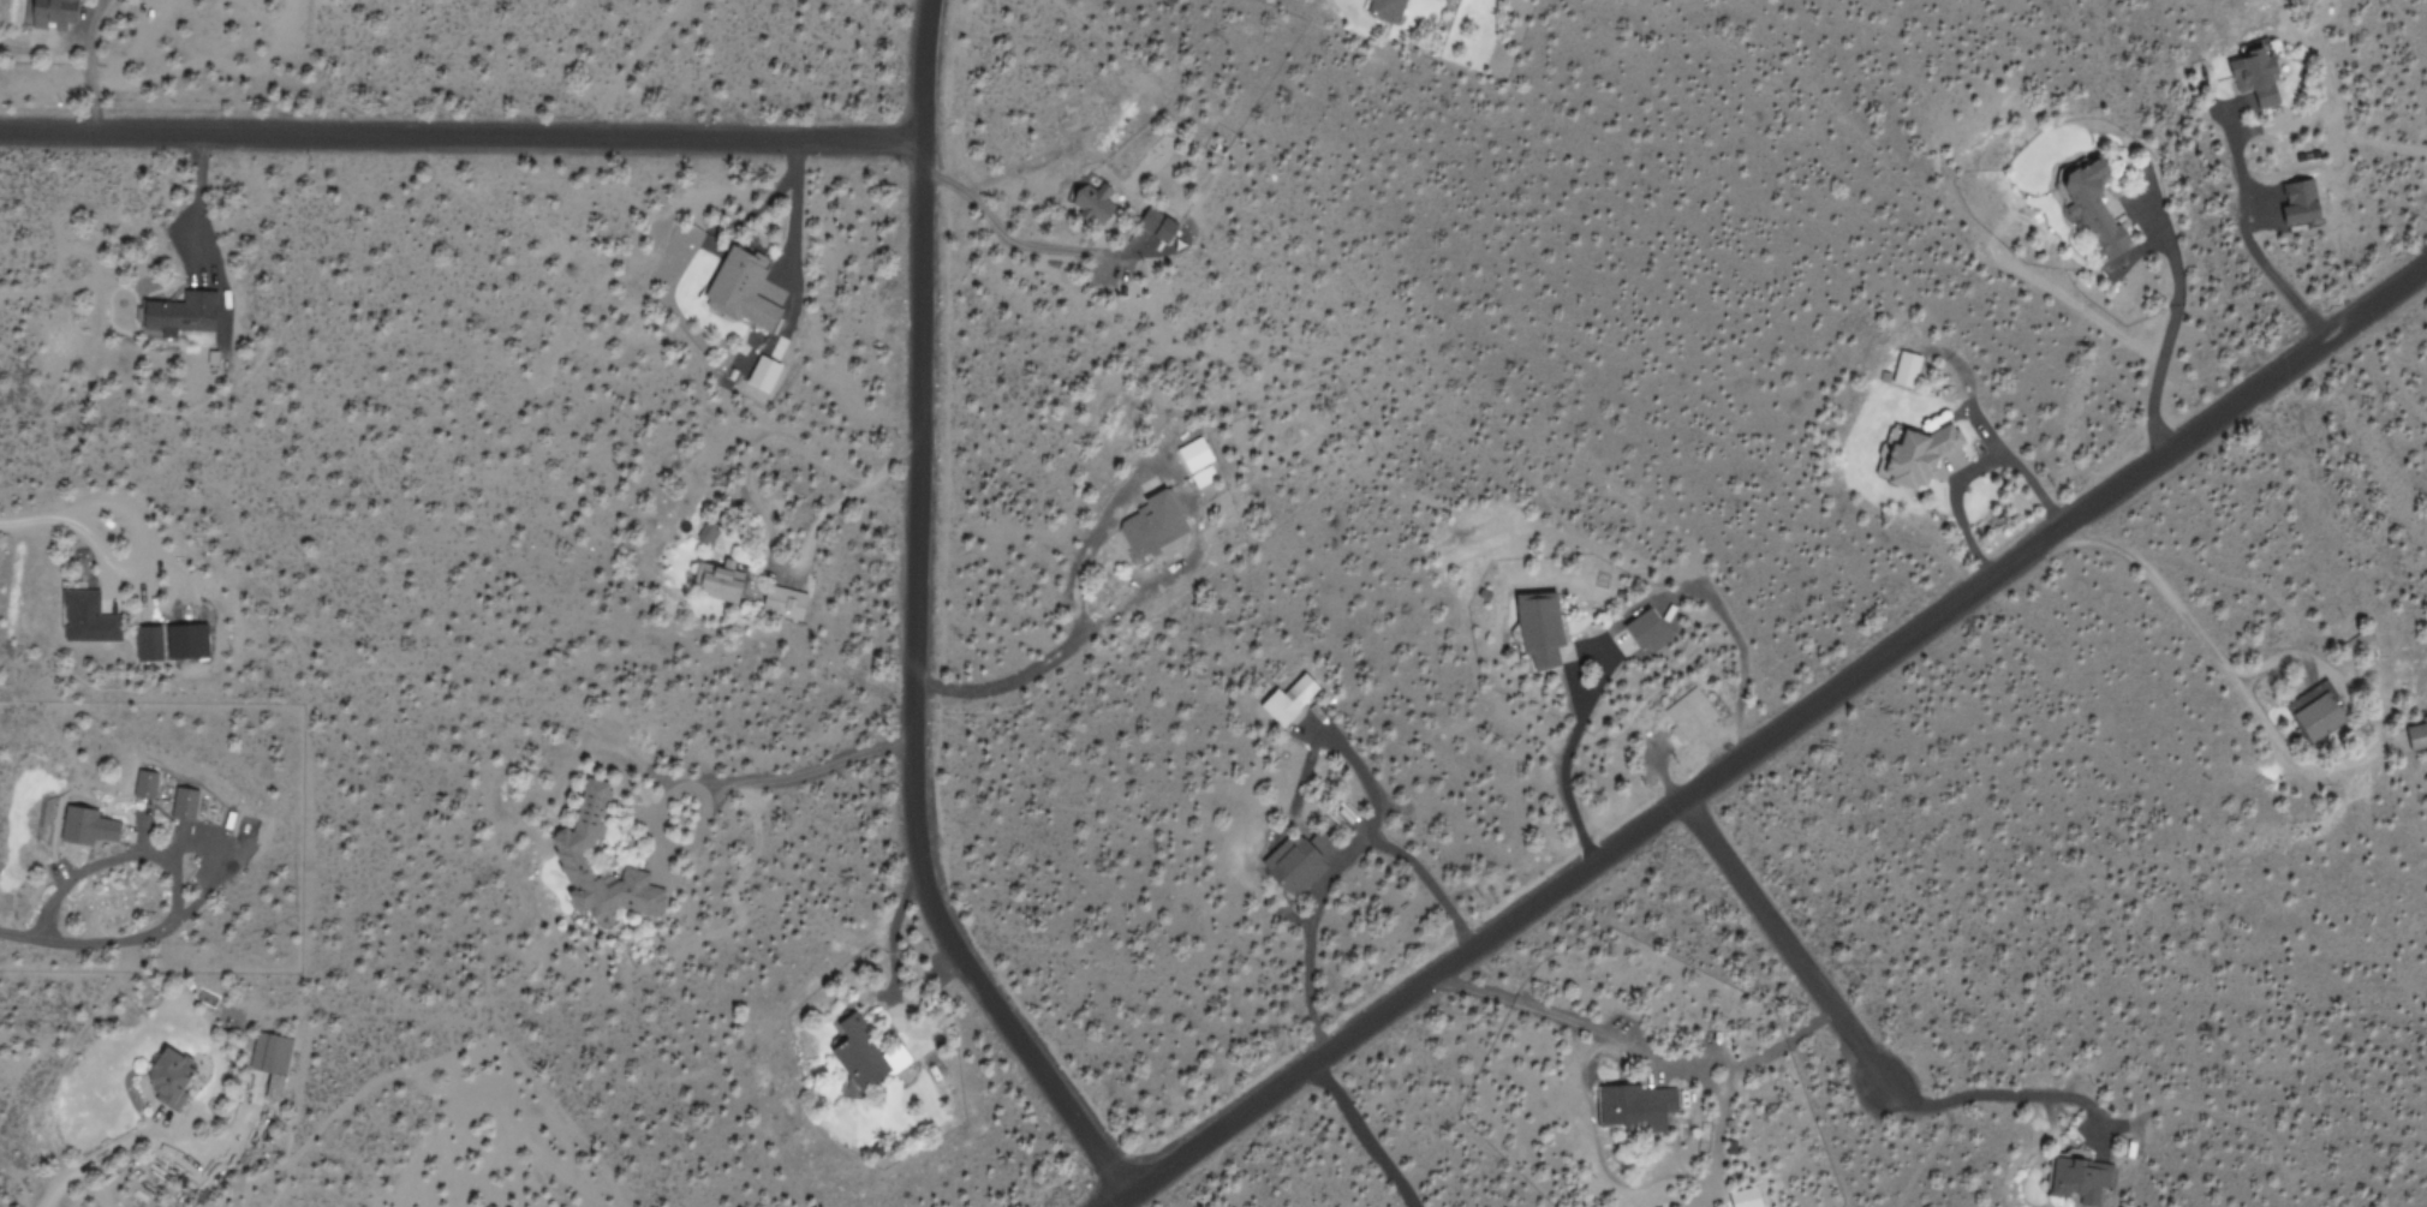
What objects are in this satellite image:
building: (1383, 10)
building: (52, 14)
building: (2255, 77)
road: (461, 131)
building: (1090, 199)
building: (2302, 201)
building: (2083, 209)
building: (1155, 226)
building: (739, 289)
building: (180, 313)
building: (1904, 370)
building: (1919, 450)
building: (1192, 461)
building: (1150, 525)
building: (714, 582)
road: (2169, 586)
building: (781, 602)
building: (84, 617)
road: (916, 626)
building: (1539, 631)
building: (1644, 631)
building: (189, 640)
building: (147, 643)
building: (1288, 700)
building: (1687, 715)
building: (2316, 717)
road: (1779, 728)
building: (2416, 736)
building: (138, 784)
building: (186, 803)
building: (68, 825)
building: (570, 848)
building: (1289, 865)
road: (1782, 937)
building: (262, 1053)
building: (863, 1057)
building: (169, 1081)
building: (1634, 1107)
building: (2077, 1181)
road: (1115, 1196)
building: (1747, 1197)

